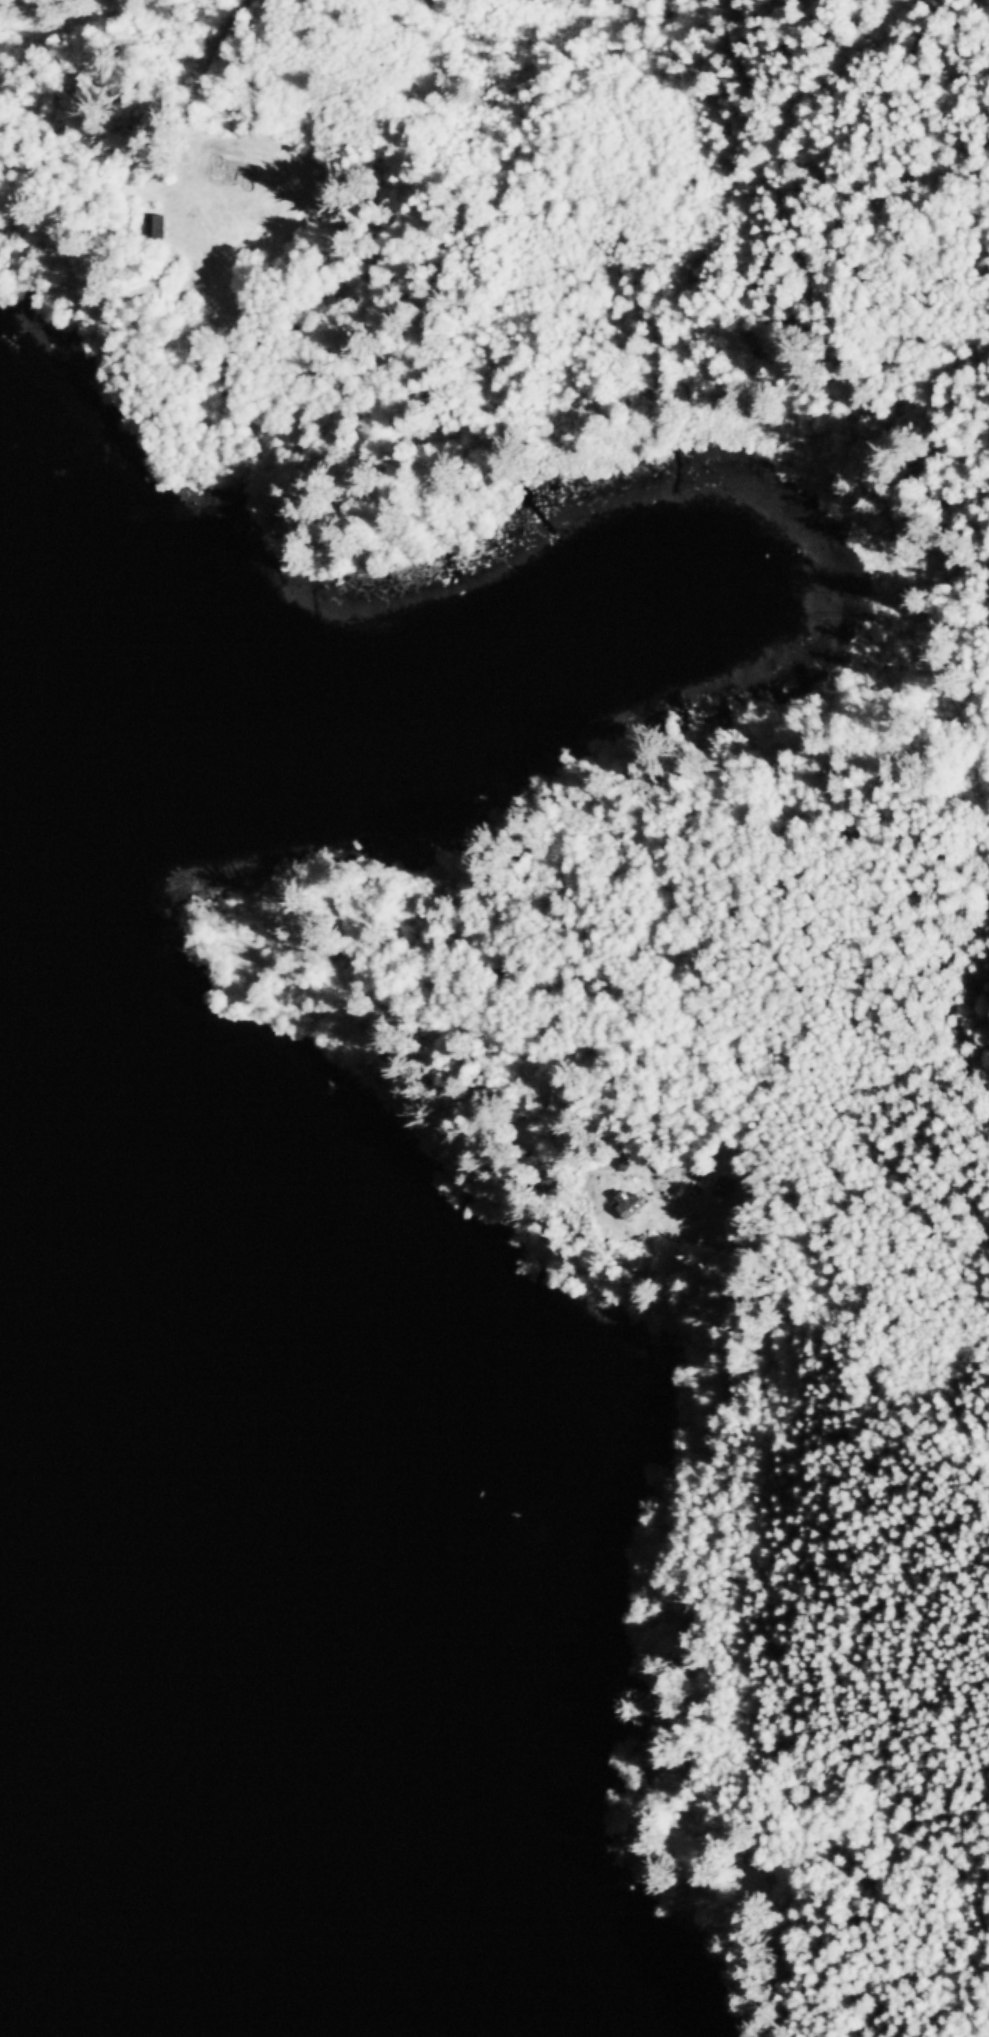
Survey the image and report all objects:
road: (230, 47)
building: (233, 171)
building: (154, 228)
road: (759, 995)
building: (719, 1188)
building: (627, 1205)

